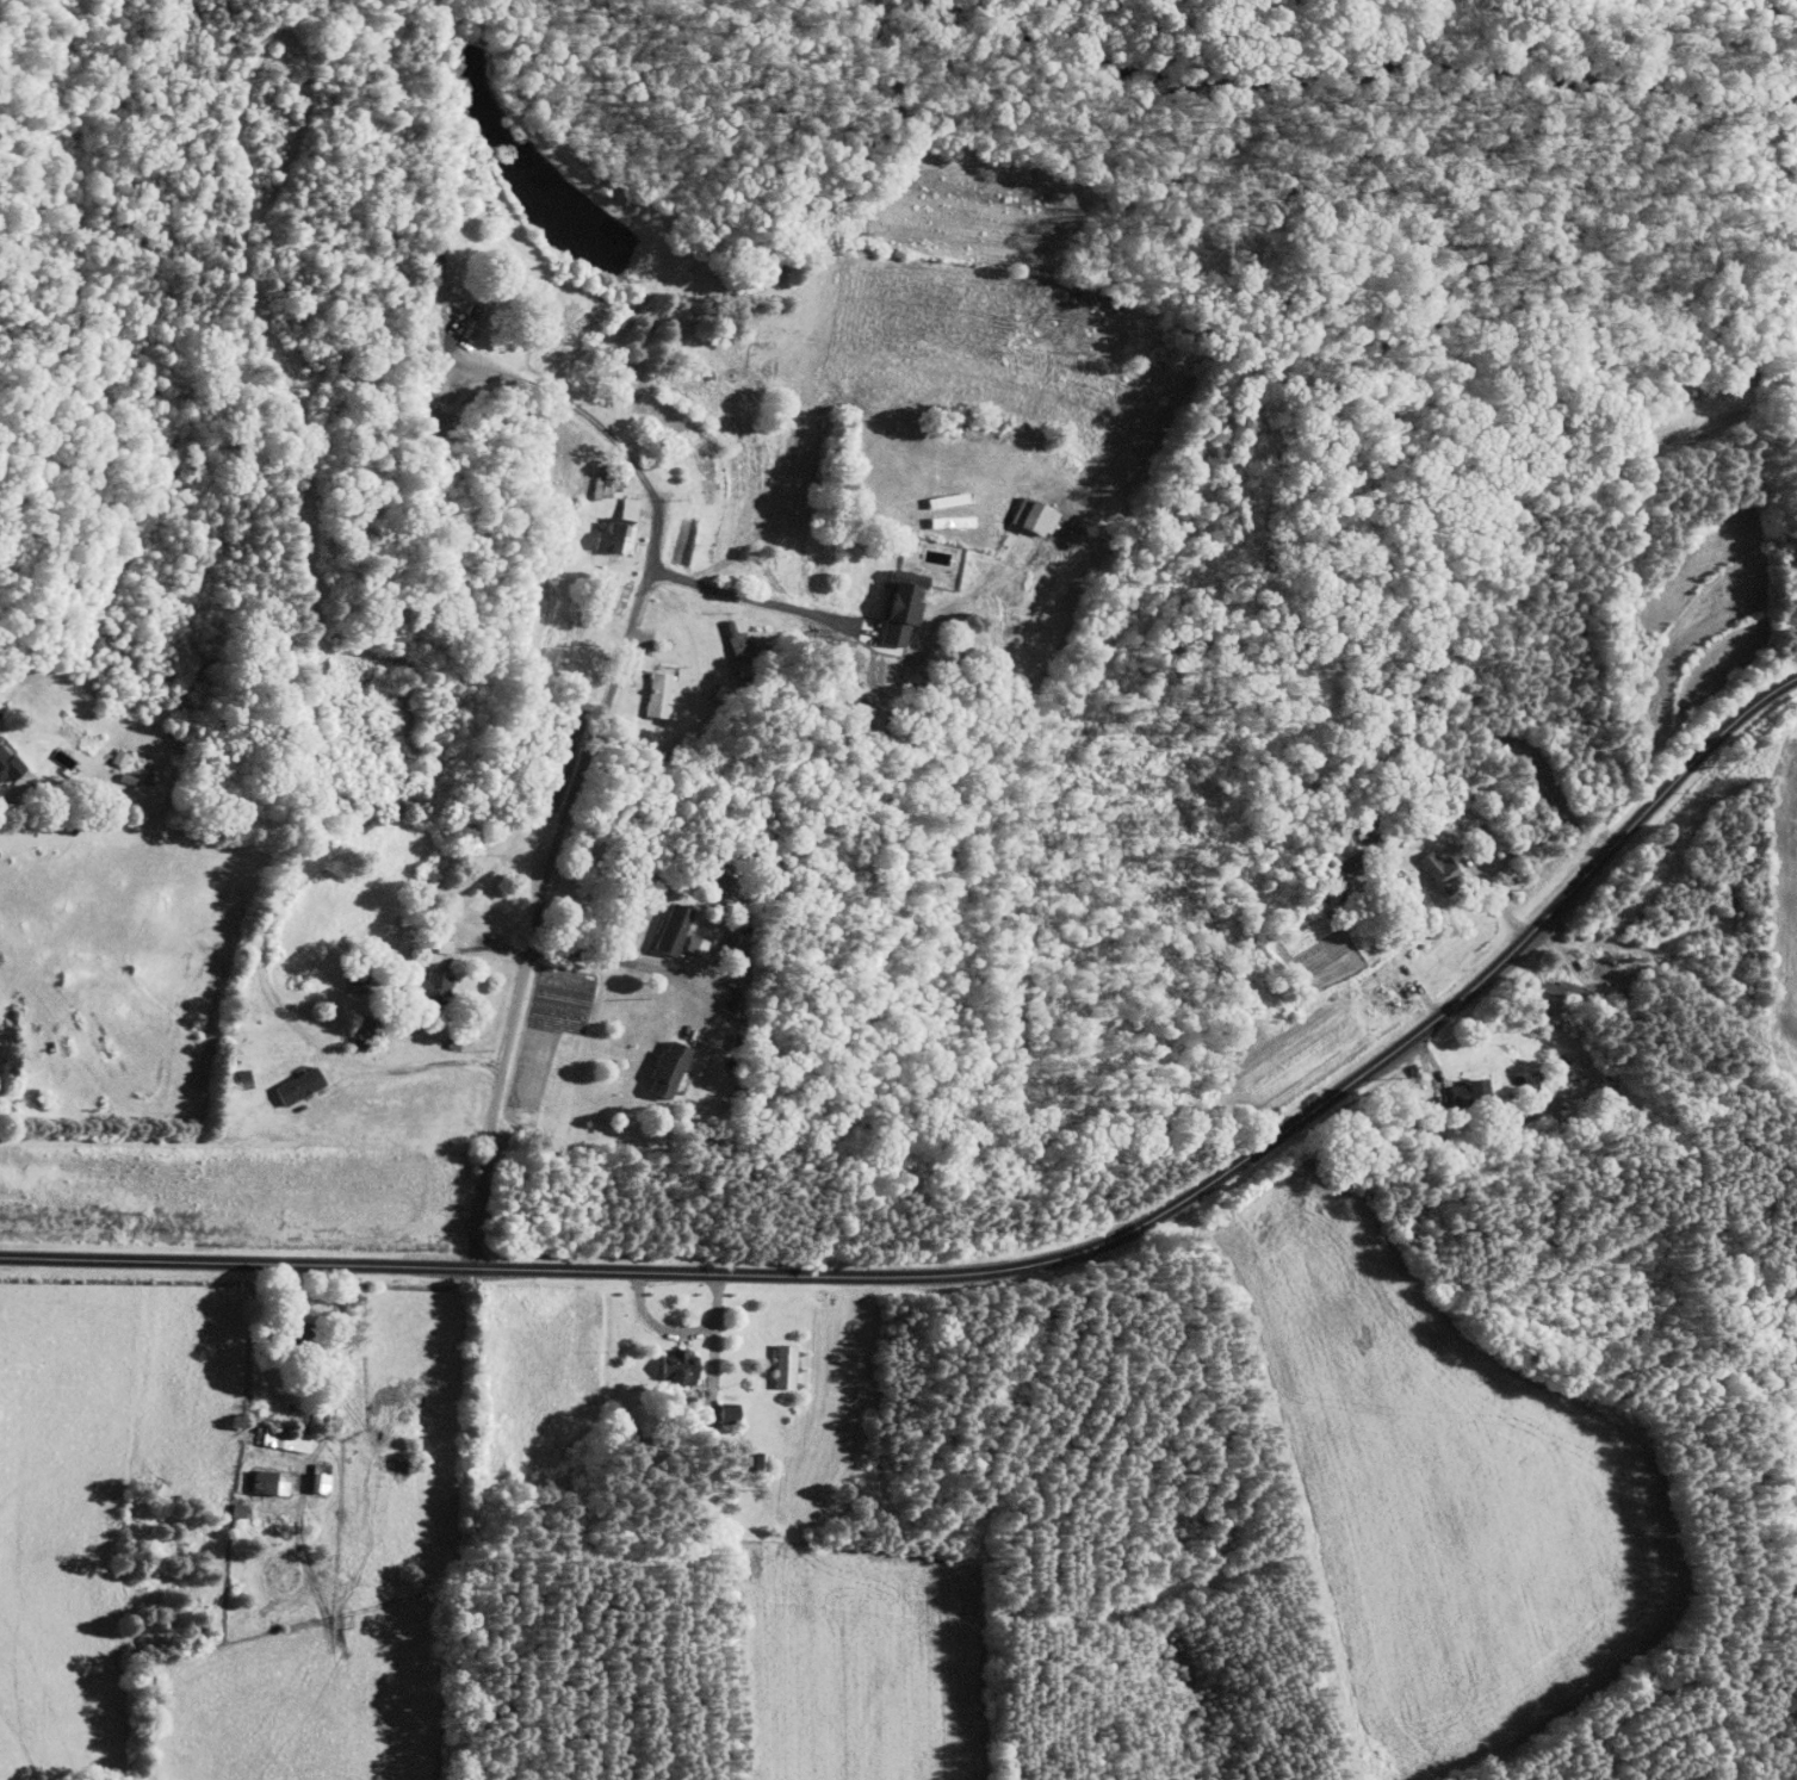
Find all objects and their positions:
building: (478, 316)
road: (606, 429)
building: (1039, 514)
road: (779, 603)
building: (743, 646)
building: (646, 660)
building: (662, 693)
building: (11, 762)
building: (126, 767)
road: (6, 799)
building: (1357, 860)
building: (1444, 869)
road: (537, 913)
building: (677, 928)
building: (700, 943)
road: (624, 960)
building: (441, 985)
building: (674, 1068)
building: (304, 1084)
road: (1003, 1269)
building: (789, 1364)
building: (683, 1365)
building: (287, 1438)
building: (324, 1477)
building: (278, 1481)
building: (240, 1509)

